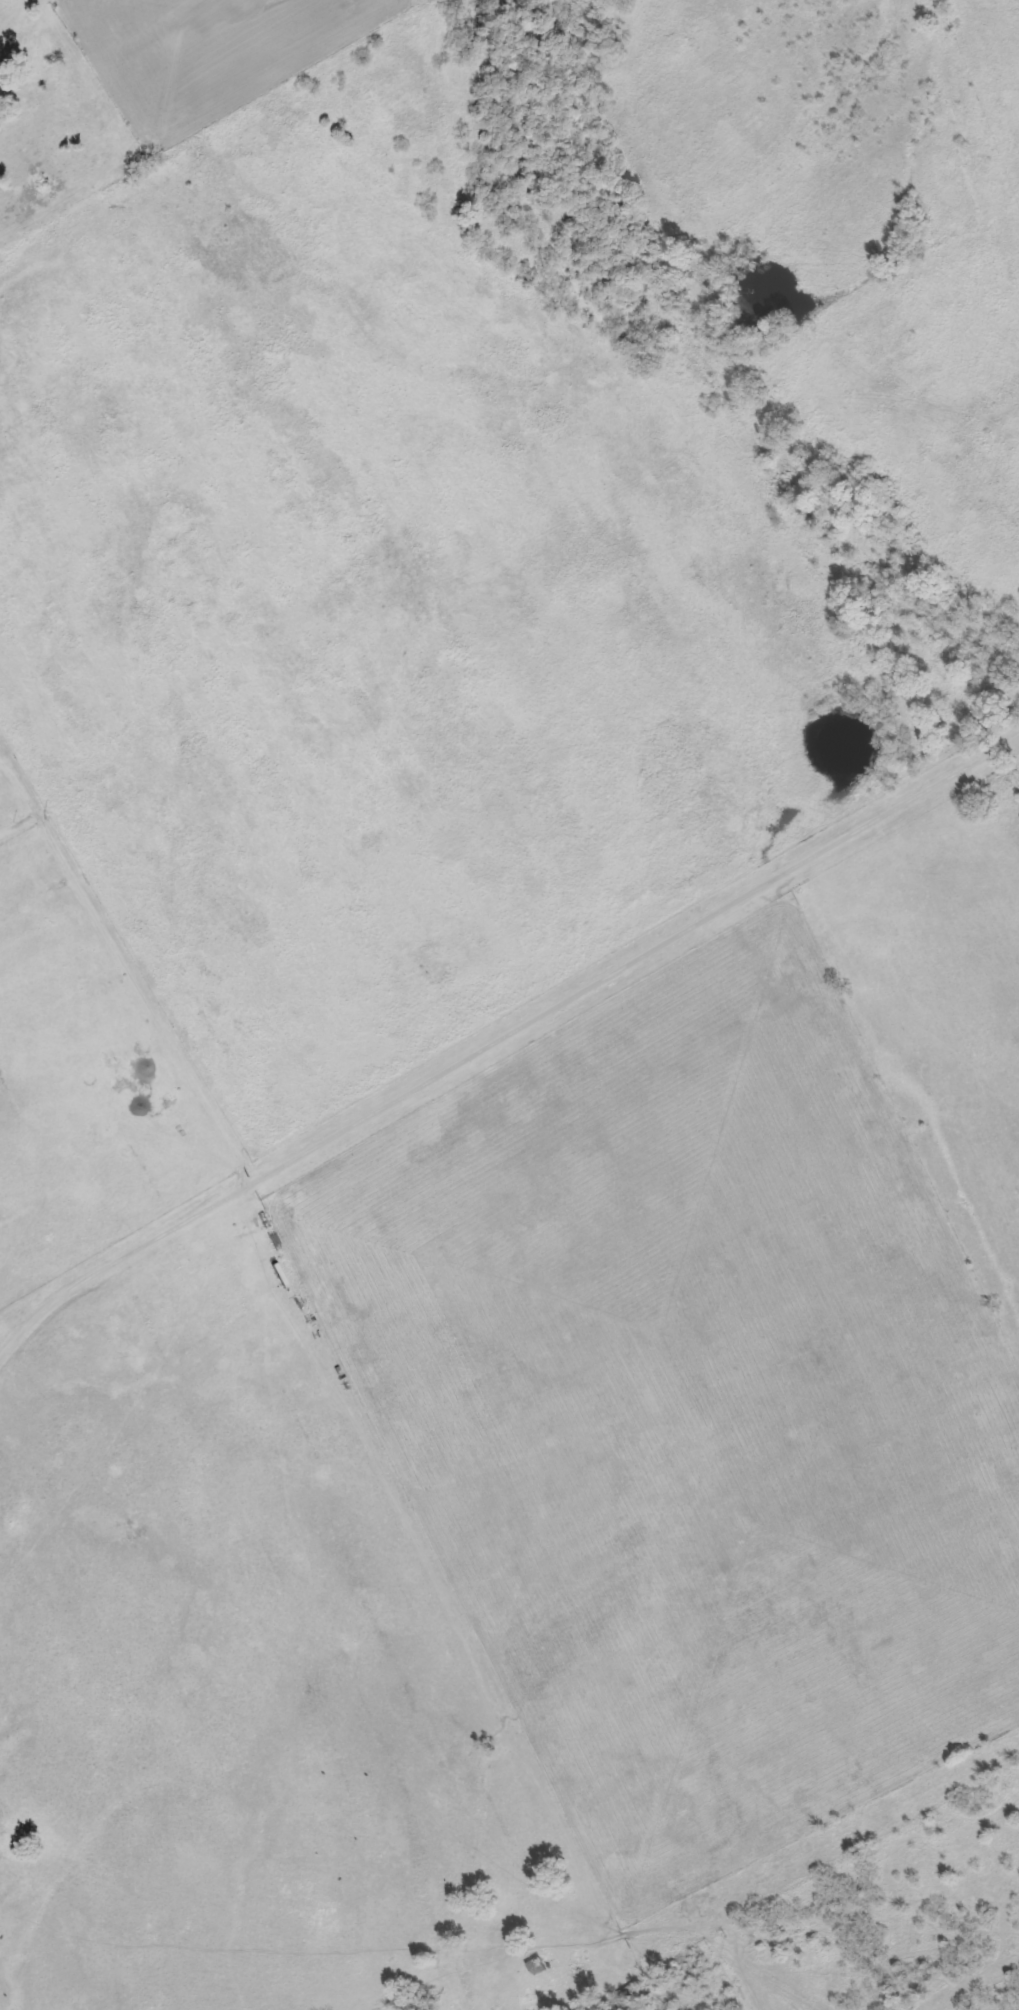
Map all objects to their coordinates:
road: (501, 1039)
building: (534, 1965)

